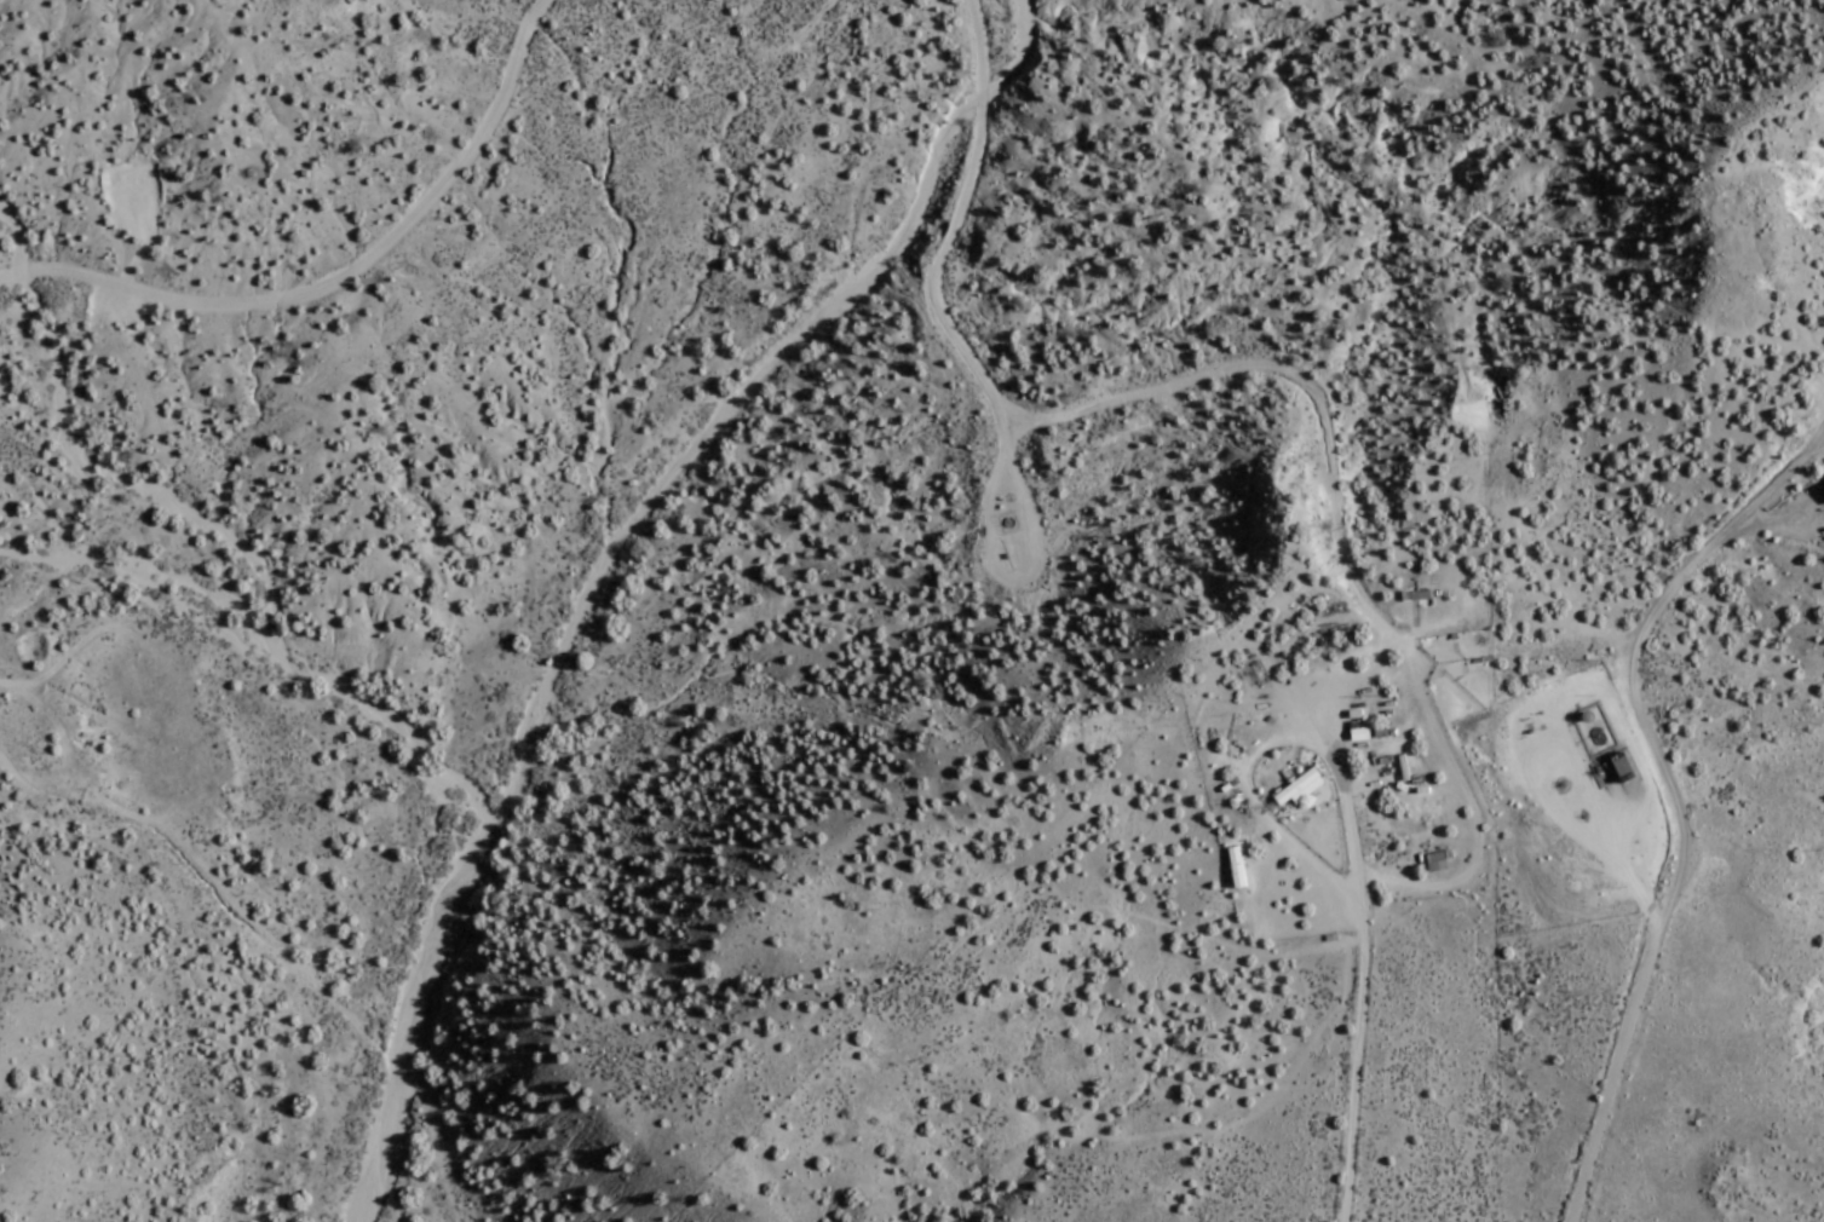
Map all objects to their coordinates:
road: (800, 31)
road: (339, 276)
road: (1078, 410)
road: (1819, 438)
road: (1820, 445)
road: (1503, 485)
road: (1786, 520)
road: (997, 572)
building: (1415, 595)
road: (1630, 653)
building: (1353, 714)
building: (1379, 731)
building: (1358, 733)
road: (68, 757)
building: (1622, 767)
building: (1402, 768)
road: (1541, 784)
building: (1299, 788)
road: (1471, 806)
road: (1262, 814)
building: (1434, 860)
building: (1236, 866)
road: (1359, 903)
road: (1611, 1071)

